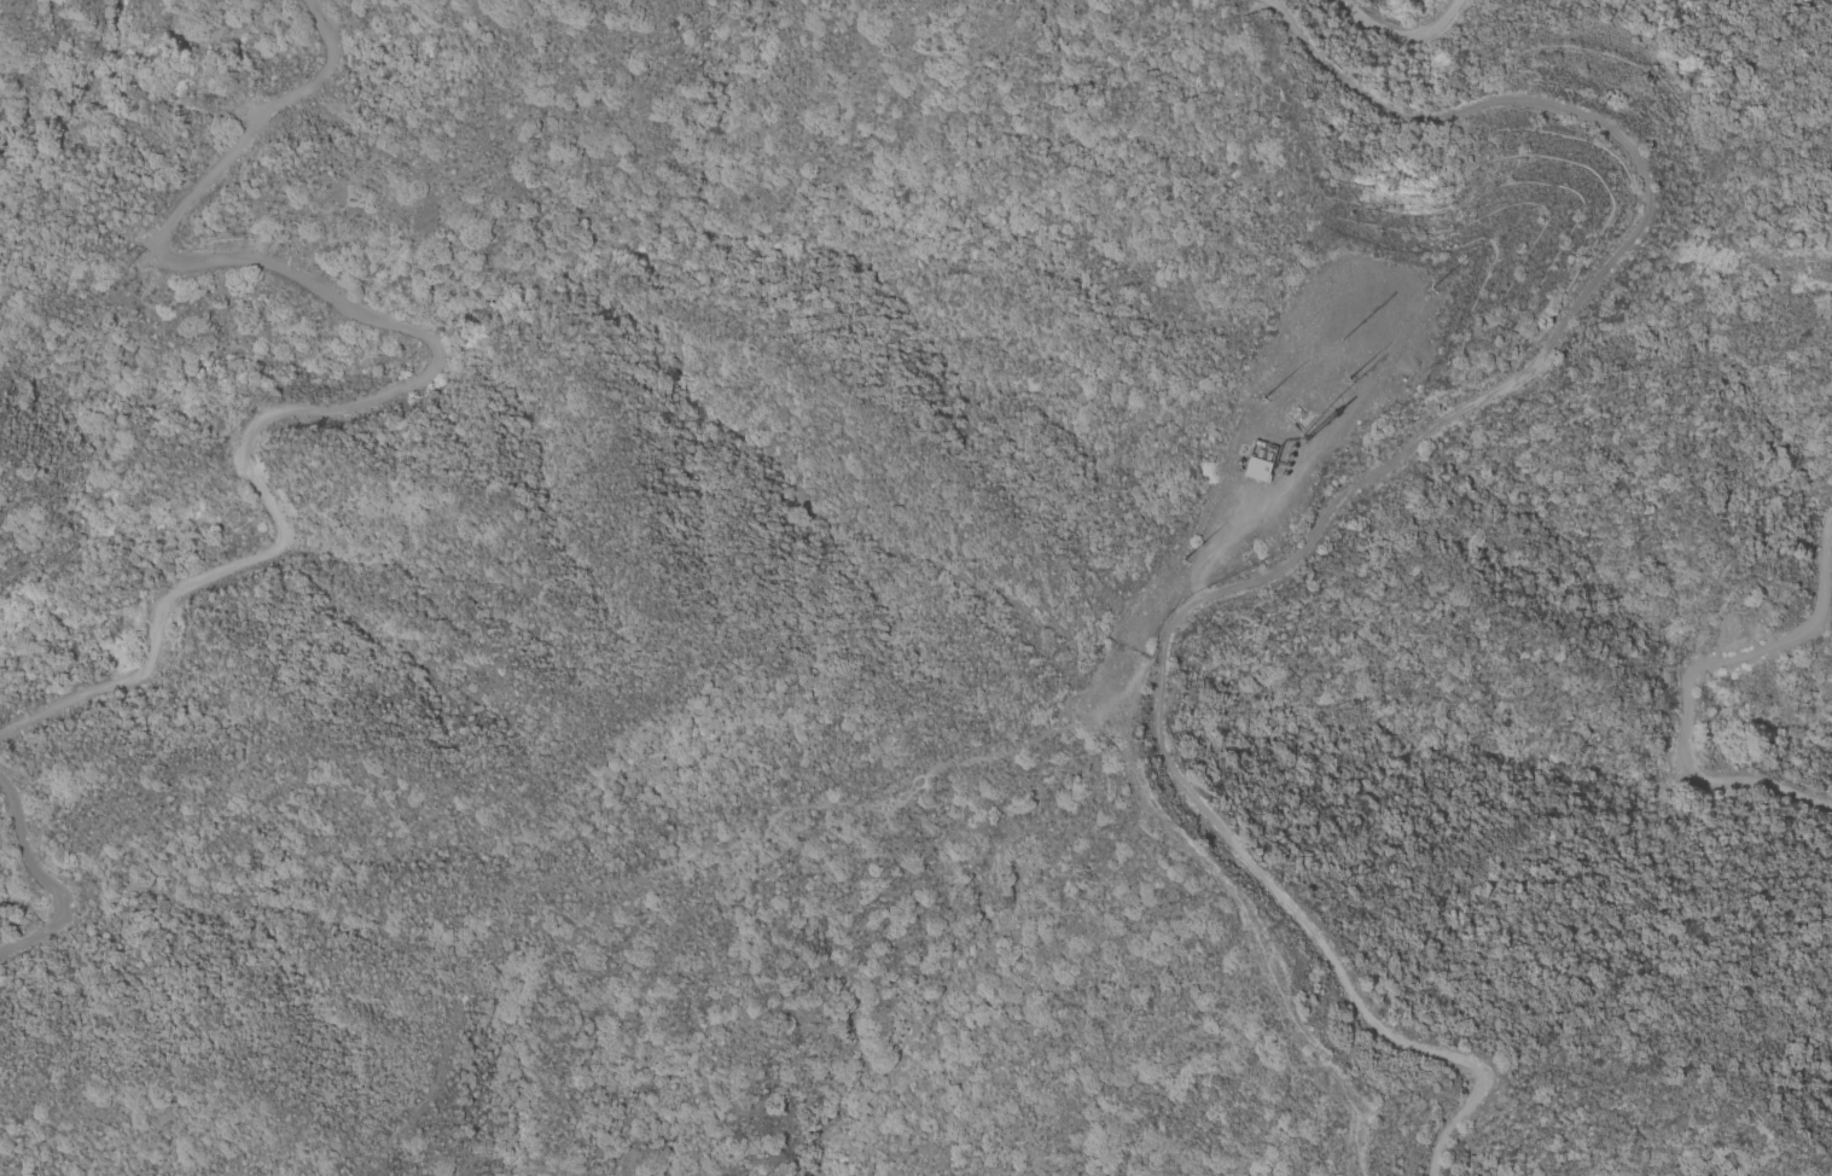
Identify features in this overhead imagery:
road: (1400, 42)
power tower: (120, 245)
road: (1559, 326)
road: (424, 382)
building: (1296, 418)
building: (215, 459)
building: (1257, 470)
road: (1686, 685)
road: (697, 848)
road: (45, 880)
road: (1340, 976)

